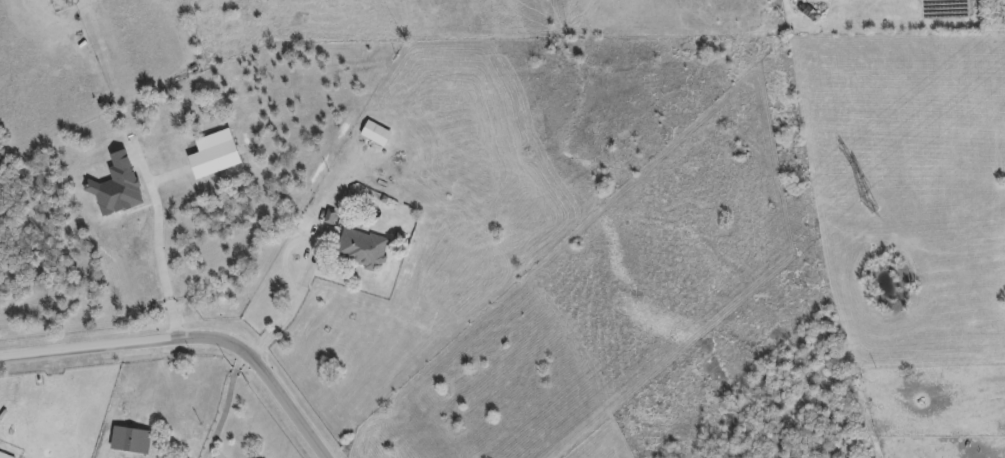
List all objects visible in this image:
building: (50, 0)
building: (375, 132)
power tower: (868, 208)
building: (360, 247)
road: (156, 249)
road: (189, 339)
road: (225, 406)
building: (129, 438)
building: (5, 455)

